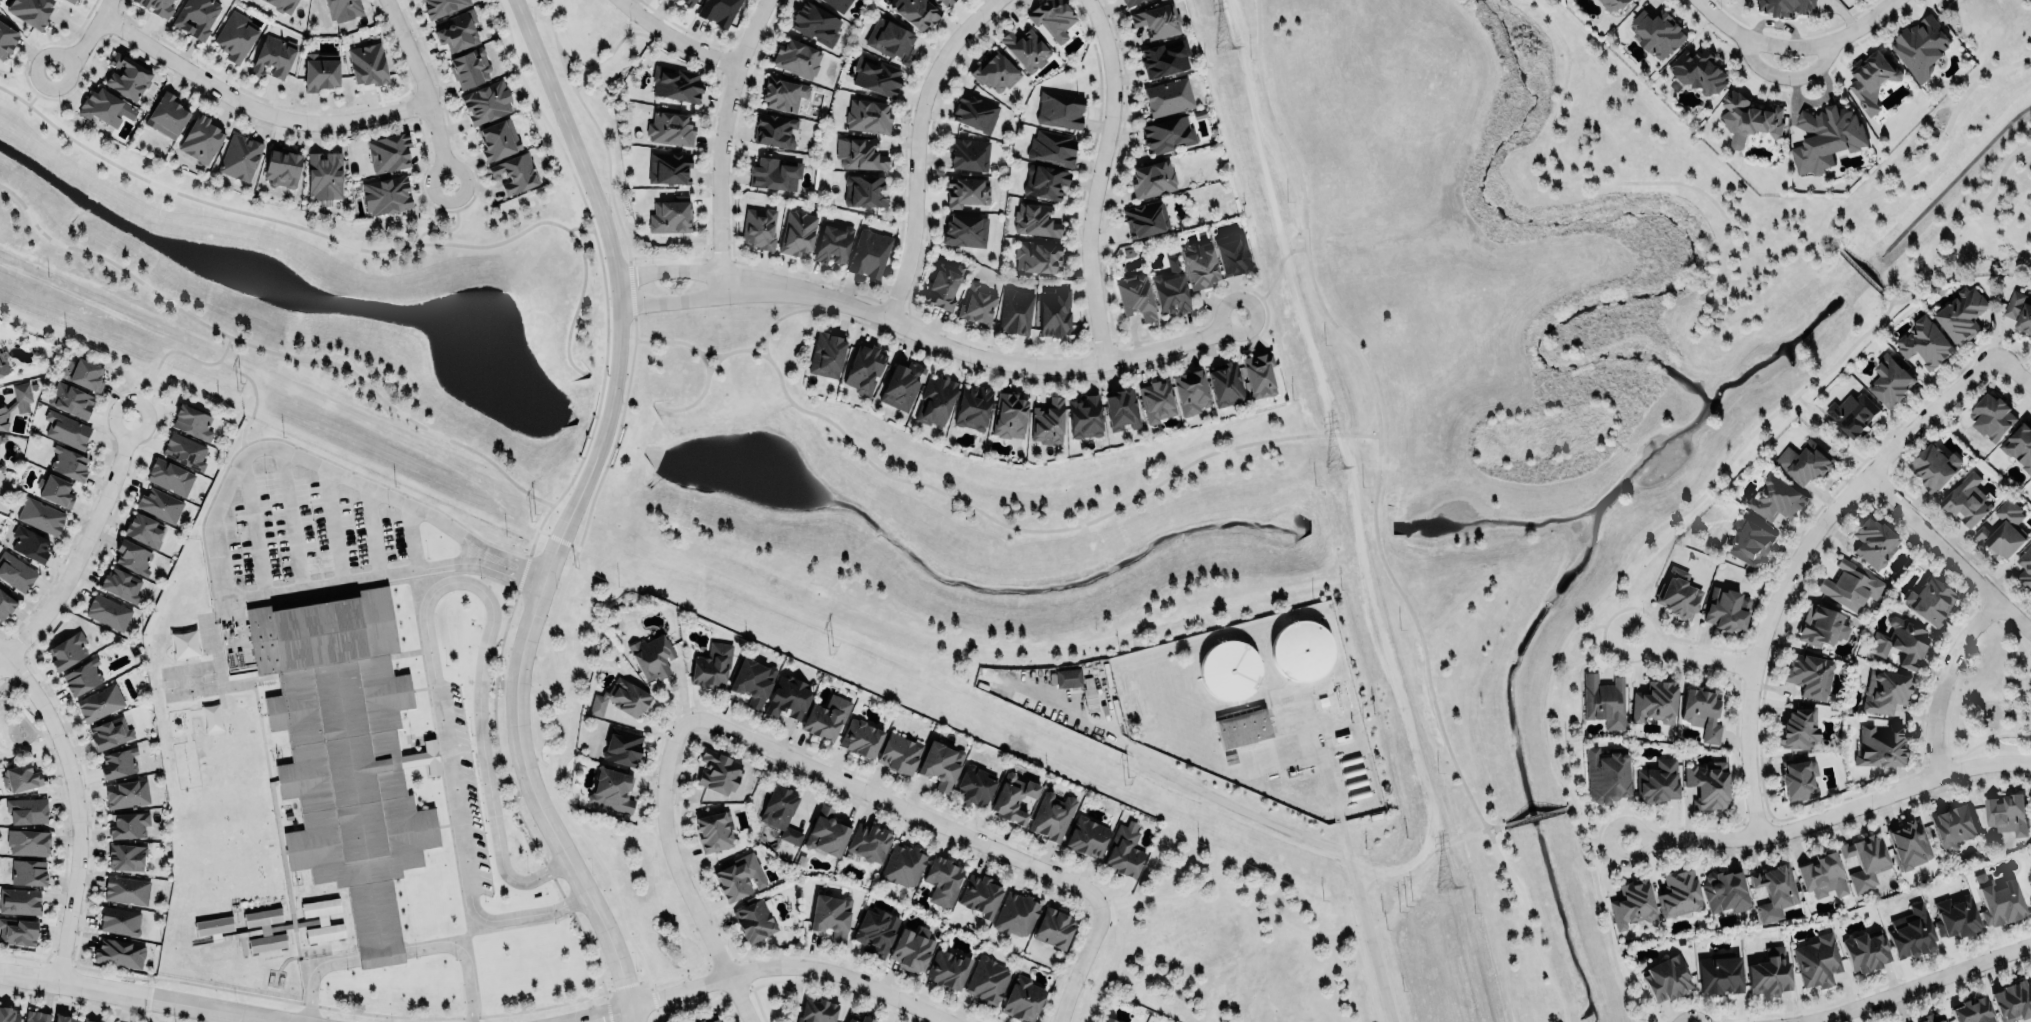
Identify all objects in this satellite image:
building: (673, 0)
building: (70, 1)
building: (687, 2)
building: (946, 2)
building: (1128, 2)
building: (1616, 3)
building: (282, 5)
building: (838, 5)
building: (156, 6)
building: (441, 6)
building: (1785, 6)
building: (341, 9)
building: (31, 11)
building: (718, 11)
building: (916, 12)
building: (196, 17)
building: (1052, 17)
building: (1156, 20)
building: (815, 24)
building: (456, 31)
building: (1657, 33)
road: (1737, 34)
road: (1846, 35)
building: (235, 36)
road: (86, 39)
road: (673, 39)
building: (6, 40)
building: (890, 40)
building: (1921, 46)
building: (1025, 49)
power tower: (1225, 49)
building: (273, 56)
building: (797, 57)
building: (1164, 58)
building: (367, 64)
road: (1757, 66)
building: (469, 68)
road: (1814, 70)
building: (320, 71)
building: (1697, 71)
building: (995, 72)
building: (876, 76)
building: (126, 77)
building: (1866, 79)
building: (676, 83)
road: (40, 87)
road: (424, 88)
building: (784, 93)
building: (1168, 97)
building: (486, 102)
road: (255, 106)
building: (104, 107)
building: (1059, 109)
building: (974, 112)
building: (166, 115)
building: (867, 116)
building: (1748, 120)
building: (669, 128)
building: (774, 130)
building: (1168, 134)
building: (1826, 138)
building: (200, 139)
building: (497, 139)
road: (719, 145)
building: (1052, 147)
road: (915, 148)
building: (388, 152)
building: (859, 153)
building: (967, 154)
road: (1926, 154)
building: (239, 156)
building: (282, 166)
building: (667, 167)
building: (514, 173)
building: (775, 173)
building: (324, 175)
road: (1095, 178)
building: (1151, 179)
building: (1044, 182)
road: (1601, 182)
building: (864, 191)
building: (965, 191)
building: (386, 194)
road: (2001, 212)
building: (669, 216)
building: (1146, 218)
building: (1036, 219)
road: (1950, 221)
road: (453, 226)
building: (758, 227)
road: (586, 230)
building: (965, 230)
building: (796, 232)
building: (832, 242)
road: (350, 245)
building: (868, 253)
building: (1232, 253)
building: (1035, 256)
building: (1199, 264)
road: (1861, 271)
road: (719, 273)
road: (1272, 281)
building: (942, 287)
building: (1170, 288)
road: (1744, 295)
building: (1135, 296)
road: (719, 297)
building: (977, 304)
building: (2019, 308)
building: (1015, 311)
building: (1055, 311)
road: (783, 314)
building: (1962, 315)
road: (672, 340)
building: (1926, 342)
road: (765, 346)
road: (169, 351)
road: (281, 354)
road: (710, 354)
building: (826, 355)
road: (1028, 365)
building: (3, 367)
building: (862, 368)
road: (2014, 370)
building: (84, 374)
building: (1258, 374)
building: (1890, 378)
building: (1225, 383)
power tower: (236, 385)
building: (901, 385)
building: (1190, 391)
road: (255, 398)
building: (70, 400)
building: (934, 400)
building: (1156, 401)
building: (15, 402)
building: (972, 408)
building: (1121, 409)
road: (1377, 412)
building: (1850, 412)
building: (1008, 415)
building: (1085, 417)
building: (1992, 417)
building: (191, 421)
building: (1047, 422)
building: (66, 429)
road: (1826, 440)
building: (2019, 443)
building: (184, 451)
road: (288, 452)
building: (1801, 460)
building: (67, 463)
park: (1166, 464)
building: (1931, 465)
power tower: (1331, 466)
building: (169, 477)
building: (55, 490)
building: (1776, 498)
building: (1967, 498)
building: (159, 504)
road: (981, 511)
road: (568, 514)
building: (40, 515)
power tower: (533, 516)
road: (288, 519)
road: (331, 525)
road: (252, 529)
building: (1999, 530)
building: (142, 532)
road: (370, 532)
road: (409, 538)
building: (1749, 539)
building: (1874, 541)
building: (30, 544)
road: (80, 547)
road: (1949, 553)
building: (132, 558)
road: (1798, 559)
building: (2023, 564)
road: (508, 568)
building: (15, 572)
road: (349, 580)
building: (1846, 584)
building: (121, 585)
building: (1678, 592)
building: (1929, 599)
building: (5, 604)
road: (424, 604)
building: (1726, 607)
road: (1584, 610)
building: (107, 611)
building: (1821, 625)
road: (1601, 626)
road: (2013, 637)
building: (1901, 641)
building: (1299, 648)
storage tank: (1299, 648)
building: (67, 649)
power tower: (831, 649)
road: (1692, 654)
building: (652, 655)
building: (1892, 655)
building: (712, 664)
building: (1230, 667)
storage tank: (1230, 667)
road: (2027, 673)
building: (1810, 674)
building: (81, 675)
building: (1067, 677)
building: (753, 678)
road: (1942, 680)
building: (1885, 691)
building: (787, 696)
building: (621, 697)
park: (1990, 697)
building: (1600, 699)
building: (1323, 700)
building: (99, 701)
building: (1655, 701)
road: (2014, 703)
building: (1698, 710)
road: (2016, 712)
building: (827, 715)
road: (1999, 721)
building: (1243, 725)
building: (1798, 727)
building: (110, 732)
building: (861, 736)
road: (1982, 741)
street lamp: (1944, 745)
building: (1880, 746)
building: (623, 747)
building: (343, 751)
building: (899, 752)
building: (118, 763)
building: (939, 763)
building: (718, 772)
building: (20, 776)
building: (1605, 776)
building: (1798, 777)
power tower: (1125, 779)
building: (1653, 779)
building: (1709, 783)
building: (974, 784)
building: (612, 790)
building: (126, 793)
building: (1012, 798)
road: (1225, 800)
road: (893, 804)
road: (75, 807)
road: (1567, 807)
building: (27, 809)
building: (781, 811)
building: (1051, 814)
building: (2006, 814)
road: (1532, 816)
road: (1831, 817)
road: (1419, 822)
building: (128, 823)
road: (1491, 824)
building: (1947, 824)
building: (714, 829)
road: (1494, 830)
building: (826, 831)
building: (1087, 836)
road: (1599, 839)
building: (28, 840)
building: (869, 841)
building: (1909, 843)
building: (1124, 850)
building: (126, 855)
building: (1864, 861)
building: (903, 864)
building: (28, 871)
road: (676, 873)
building: (1822, 873)
building: (737, 875)
building: (943, 879)
power tower: (1443, 884)
building: (126, 889)
building: (1725, 889)
building: (1769, 889)
road: (1359, 890)
building: (1679, 893)
building: (980, 894)
building: (1998, 899)
building: (19, 900)
power tower: (1404, 901)
building: (1633, 902)
building: (1016, 913)
building: (831, 914)
building: (1955, 915)
building: (119, 919)
building: (322, 919)
building: (755, 919)
road: (1529, 924)
building: (1054, 926)
building: (876, 929)
road: (1302, 929)
building: (18, 930)
building: (1911, 930)
building: (215, 938)
building: (913, 947)
building: (1866, 950)
building: (119, 951)
road: (381, 955)
road: (461, 959)
building: (1818, 959)
road: (1080, 960)
road: (789, 966)
building: (948, 969)
building: (1769, 971)
building: (1720, 973)
road: (313, 974)
building: (1666, 977)
building: (987, 980)
road: (1917, 985)
road: (141, 996)
building: (1023, 999)
building: (2013, 999)
building: (817, 1010)
building: (1973, 1010)
road: (600, 1014)
building: (9, 1015)
building: (36, 1015)
road: (225, 1017)
building: (65, 1018)
building: (1930, 1018)
building: (713, 1019)
building: (862, 1019)
building: (90, 1020)
building: (1109, 1020)

